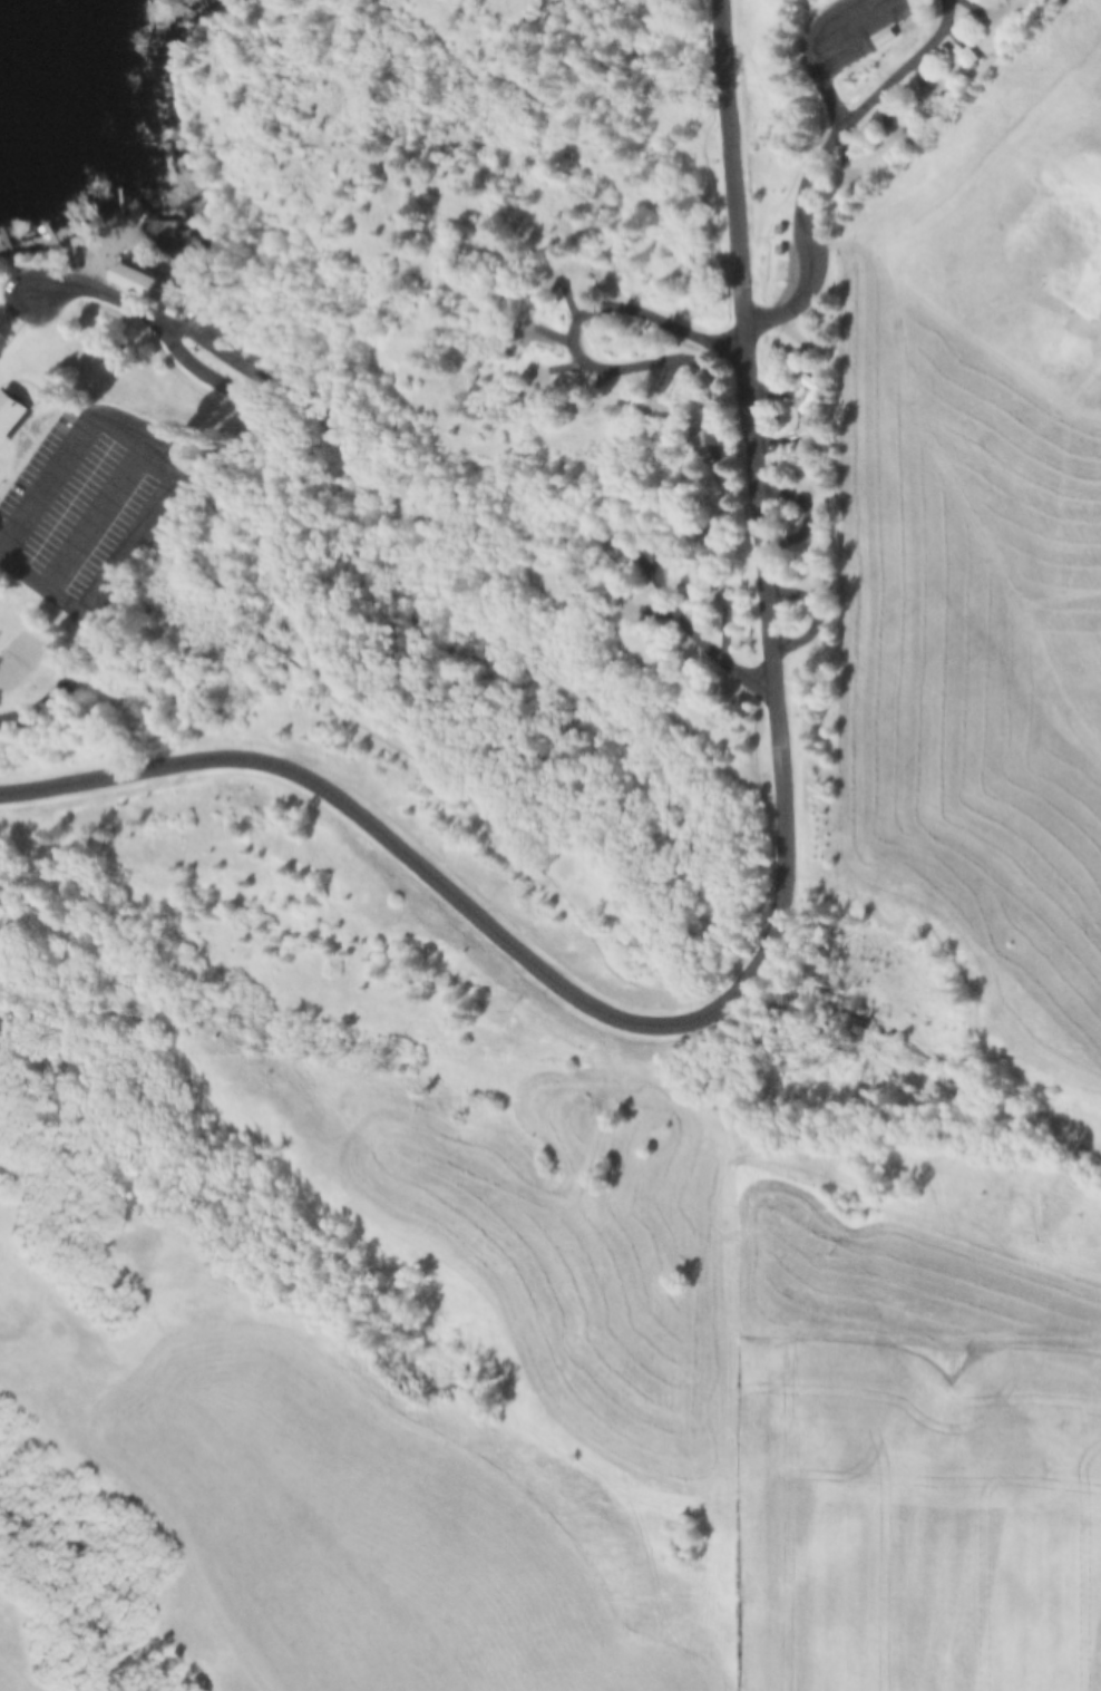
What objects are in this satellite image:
parking lot: (851, 35)
road: (817, 174)
building: (783, 246)
building: (158, 280)
road: (602, 371)
building: (11, 412)
road: (216, 474)
parking lot: (104, 506)
building: (818, 533)
road: (675, 542)
park: (26, 657)
road: (781, 925)
road: (849, 1194)

